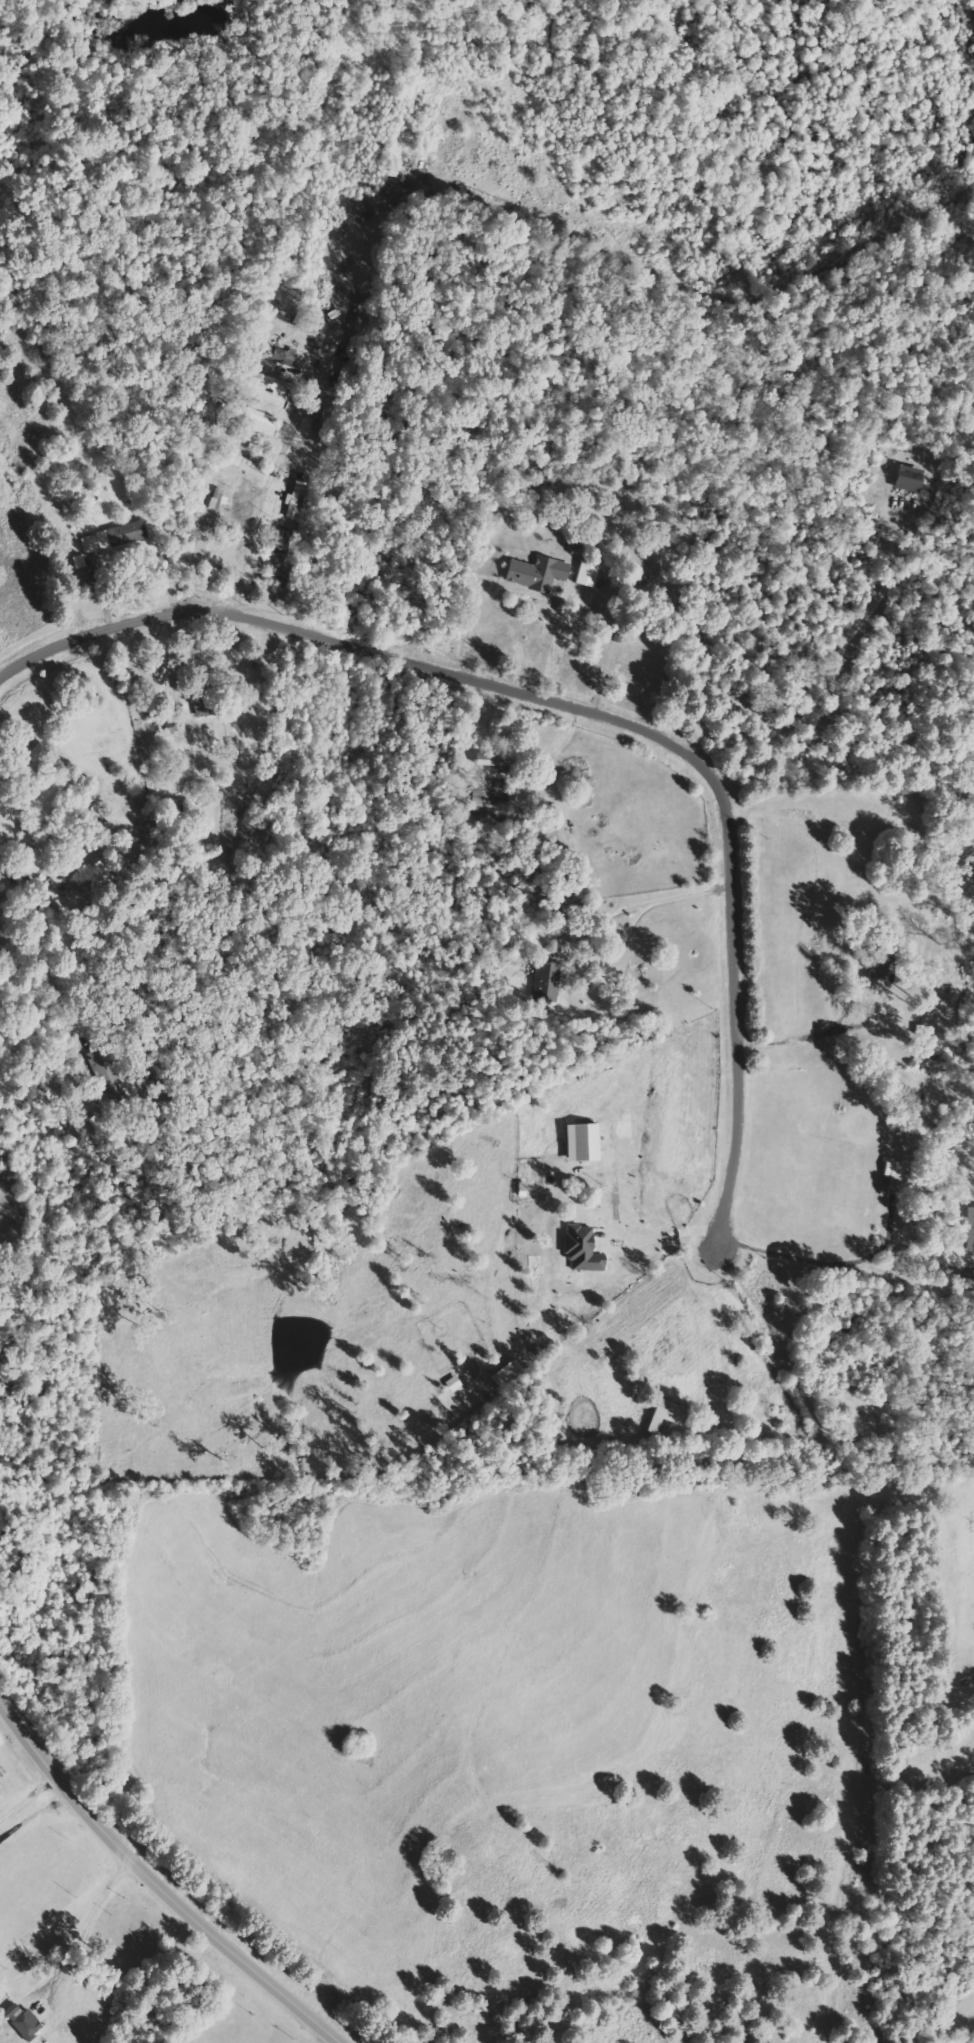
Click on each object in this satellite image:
building: (285, 355)
building: (274, 384)
building: (259, 421)
building: (252, 468)
building: (914, 479)
building: (217, 500)
building: (296, 502)
building: (135, 527)
building: (97, 542)
building: (539, 573)
building: (590, 573)
building: (206, 707)
road: (596, 714)
building: (489, 792)
building: (548, 981)
building: (585, 1143)
building: (898, 1176)
building: (971, 1217)
building: (584, 1249)
building: (967, 1301)
building: (530, 1355)
building: (510, 1374)
building: (455, 1384)
building: (670, 1415)
road: (36, 1810)
road: (158, 1880)
building: (25, 2021)

